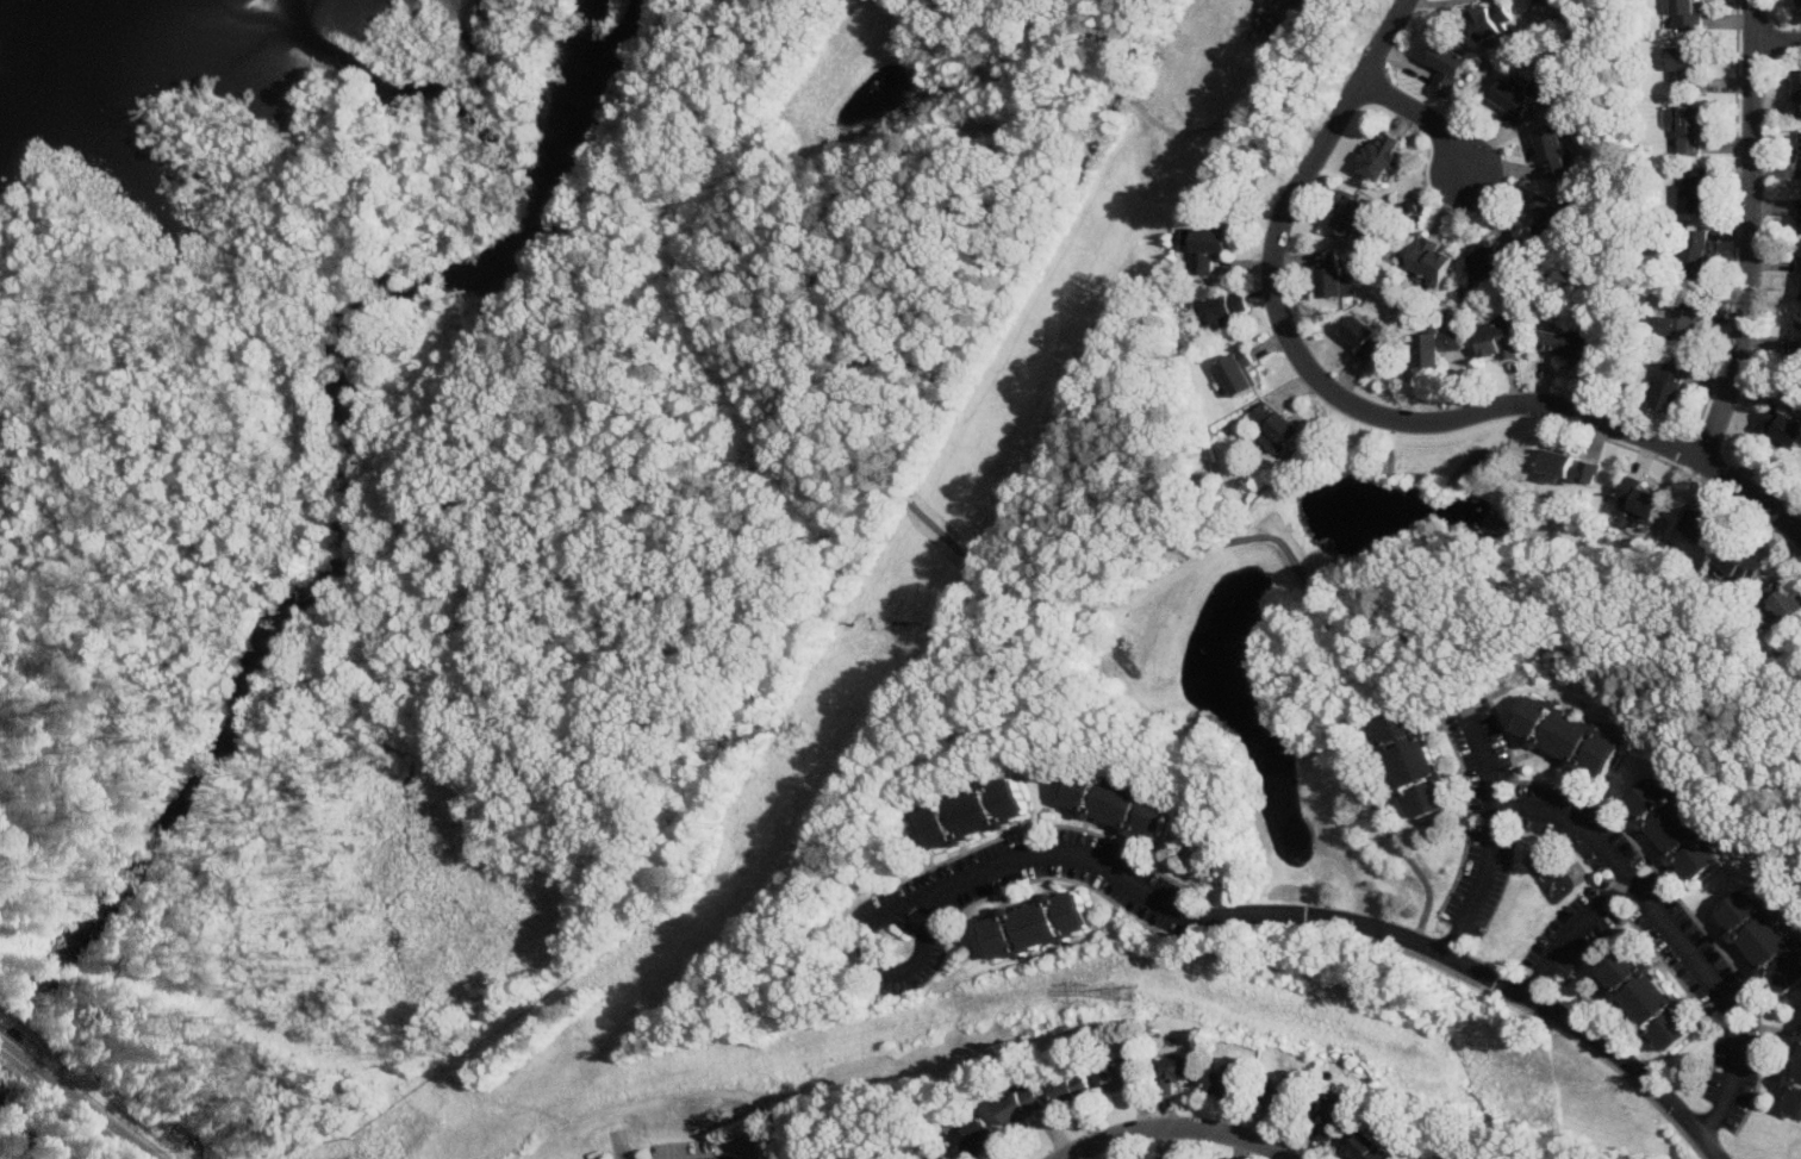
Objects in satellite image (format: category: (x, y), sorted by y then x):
building: (1554, 2)
building: (1797, 2)
building: (1685, 15)
building: (1488, 21)
road: (1122, 25)
road: (1776, 39)
building: (1683, 66)
building: (1446, 69)
building: (1797, 94)
road: (1139, 101)
building: (1513, 101)
road: (1292, 110)
road: (1238, 111)
road: (1425, 123)
building: (1685, 126)
road: (1197, 127)
building: (1552, 152)
building: (1379, 156)
building: (1800, 163)
building: (1693, 192)
building: (1350, 216)
building: (1799, 217)
building: (1548, 218)
road: (1749, 232)
building: (1207, 249)
building: (1513, 251)
building: (1694, 255)
building: (1492, 260)
building: (1431, 261)
building: (1332, 278)
building: (1799, 281)
building: (1221, 311)
building: (1680, 323)
building: (1361, 339)
building: (1797, 341)
building: (1497, 342)
building: (1564, 344)
building: (1433, 348)
building: (1236, 375)
building: (1669, 390)
road: (547, 395)
road: (1361, 410)
building: (1275, 428)
building: (1781, 428)
road: (920, 461)
building: (1569, 467)
building: (1639, 498)
building: (1699, 526)
river: (331, 547)
building: (1741, 565)
building: (1786, 603)
road: (1320, 605)
building: (1571, 736)
building: (1420, 765)
building: (1123, 805)
road: (1373, 806)
building: (978, 815)
road: (224, 817)
building: (1677, 828)
road: (1488, 843)
road: (1061, 852)
building: (1040, 926)
road: (1570, 931)
road: (1669, 933)
building: (1766, 939)
power tower: (1130, 997)
building: (1654, 1002)
road: (1579, 1027)
road: (35, 1036)
road: (25, 1059)
building: (1172, 1072)
road: (118, 1076)
building: (1123, 1077)
building: (1223, 1083)
building: (1071, 1090)
building: (1796, 1095)
building: (1280, 1097)
building: (1020, 1104)
road: (127, 1111)
building: (1332, 1114)
road: (102, 1119)
road: (1172, 1132)
building: (976, 1139)
parking lot: (191, 1141)
road: (185, 1144)
building: (1367, 1147)
road: (1716, 1157)

